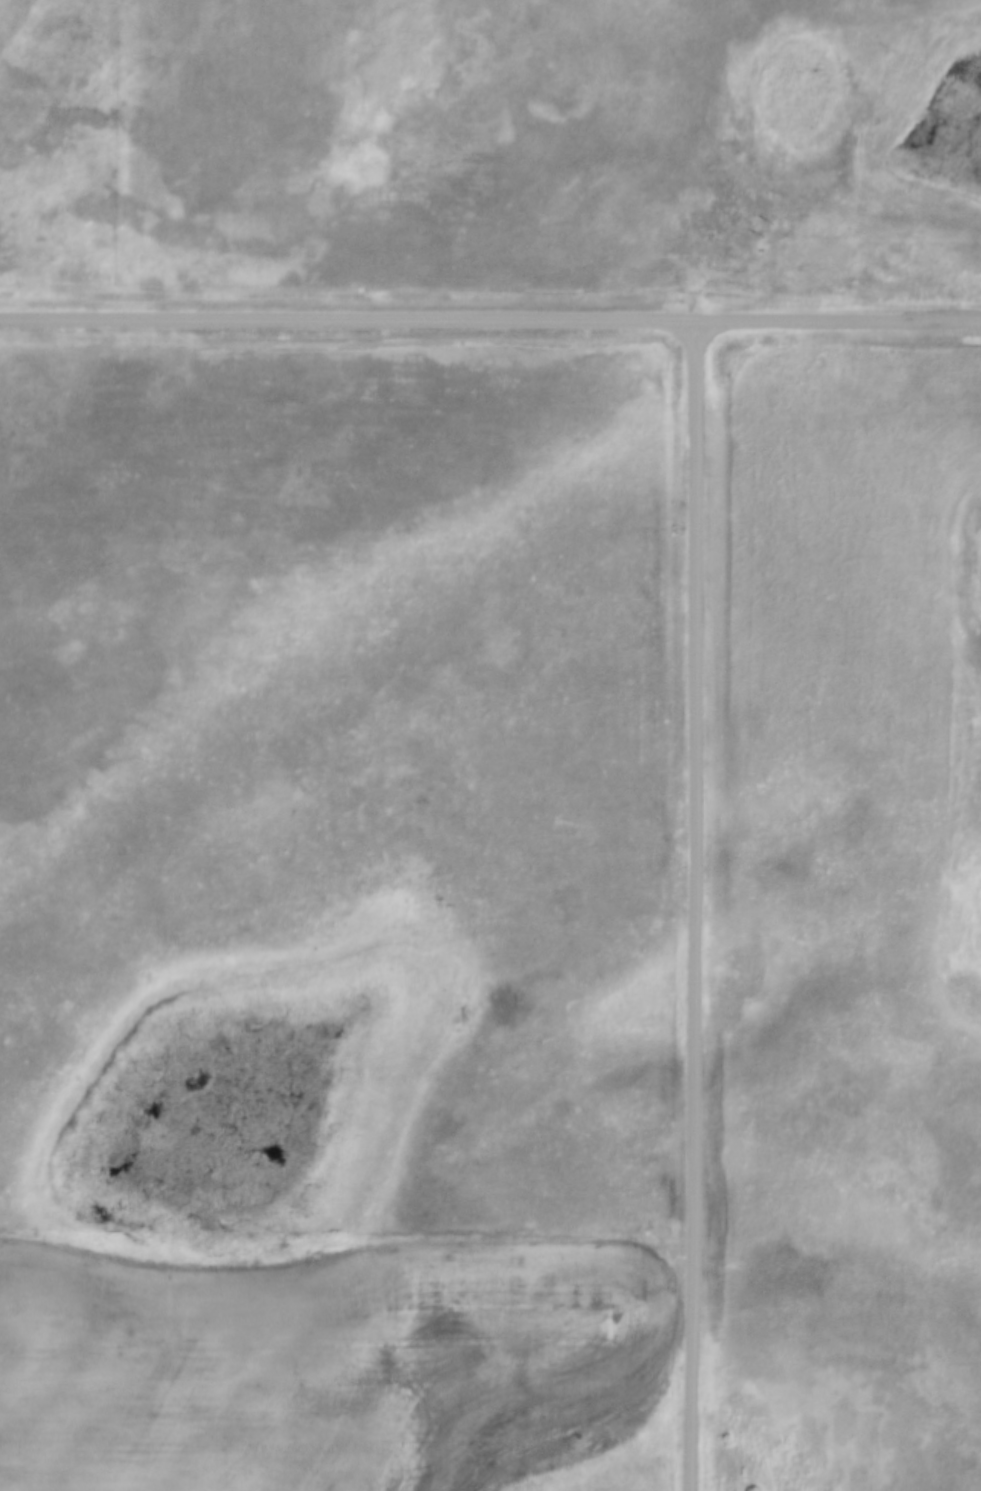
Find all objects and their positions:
road: (490, 317)
road: (694, 904)

